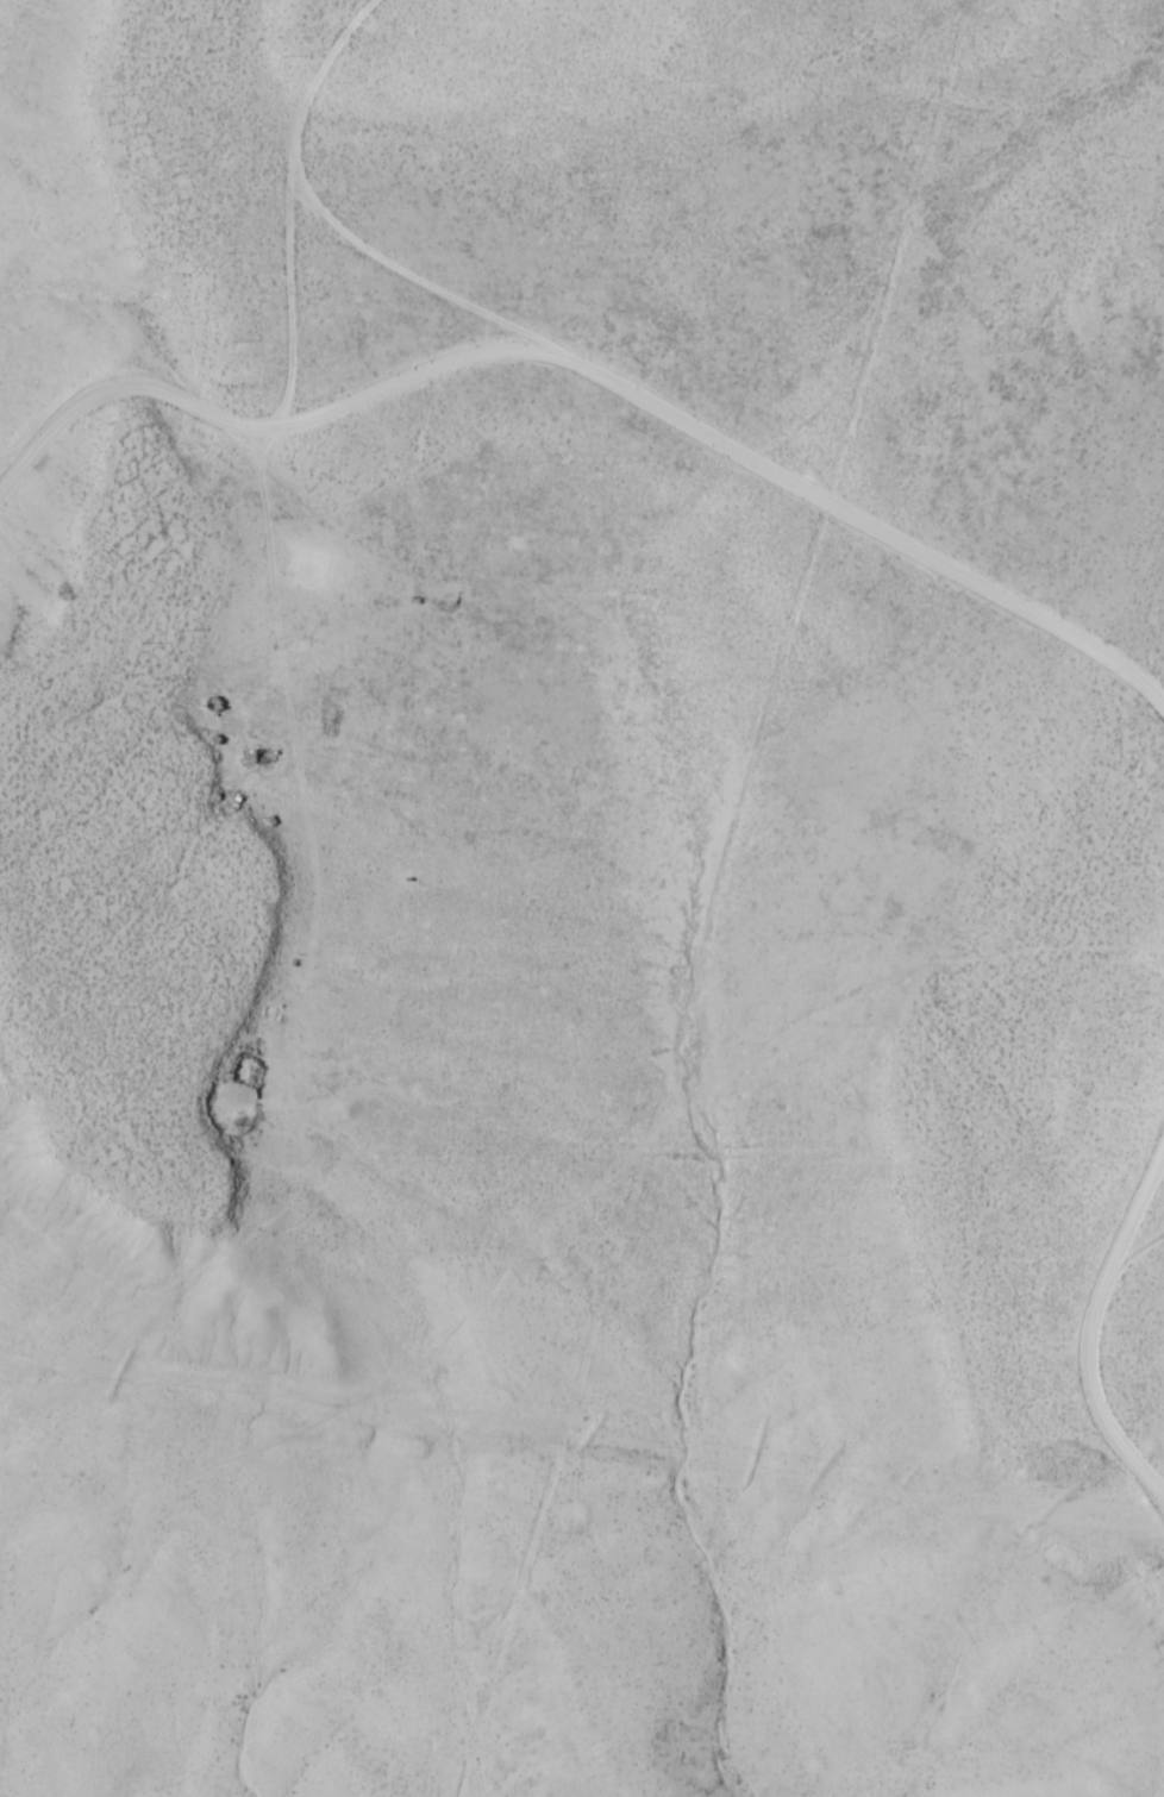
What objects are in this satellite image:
road: (324, 65)
road: (413, 275)
road: (293, 290)
road: (421, 395)
road: (123, 443)
road: (874, 526)
road: (1090, 1326)

